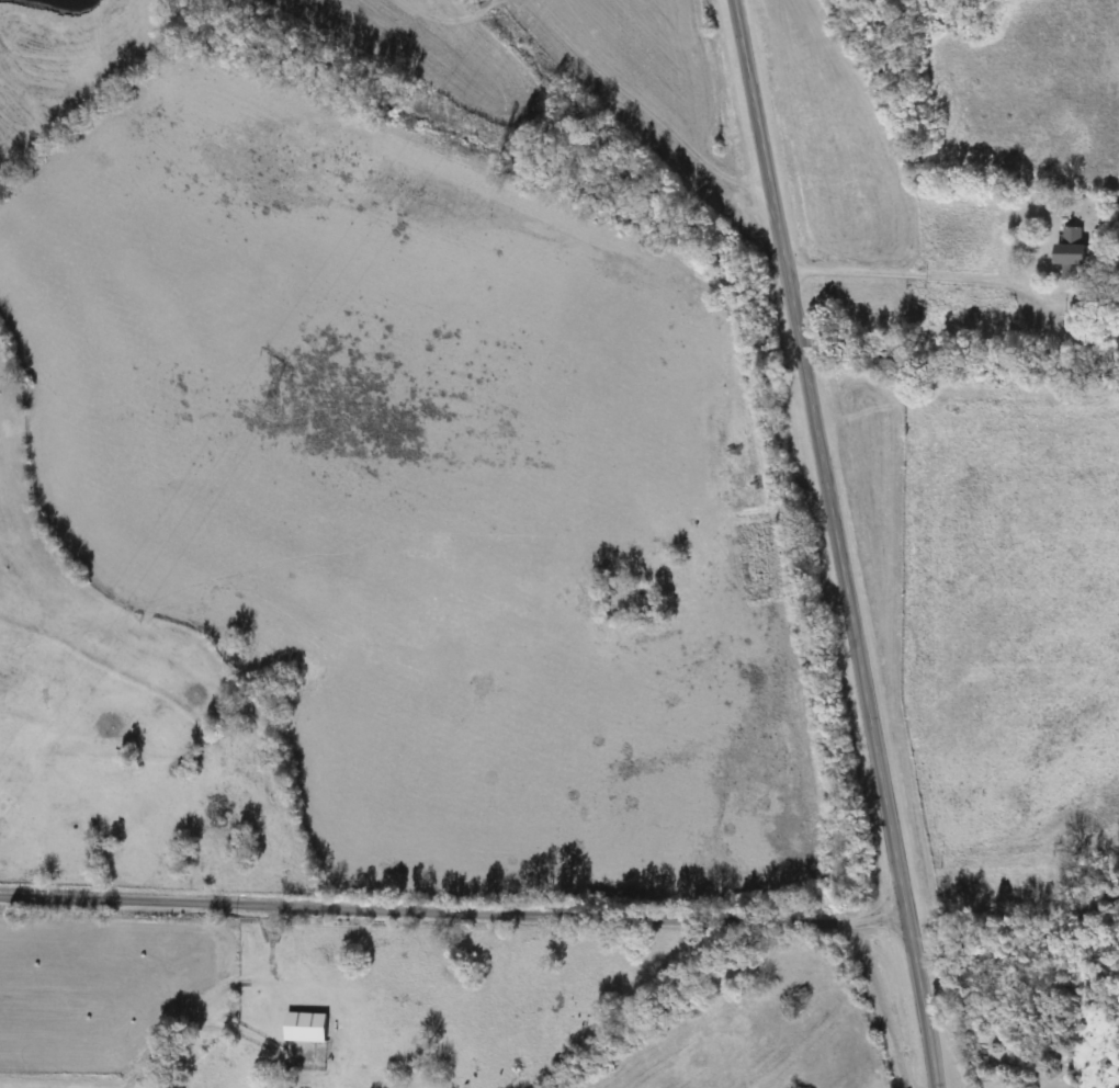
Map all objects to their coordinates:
building: (1073, 254)
road: (911, 273)
power tower: (270, 412)
road: (839, 543)
road: (453, 915)
building: (308, 1028)

